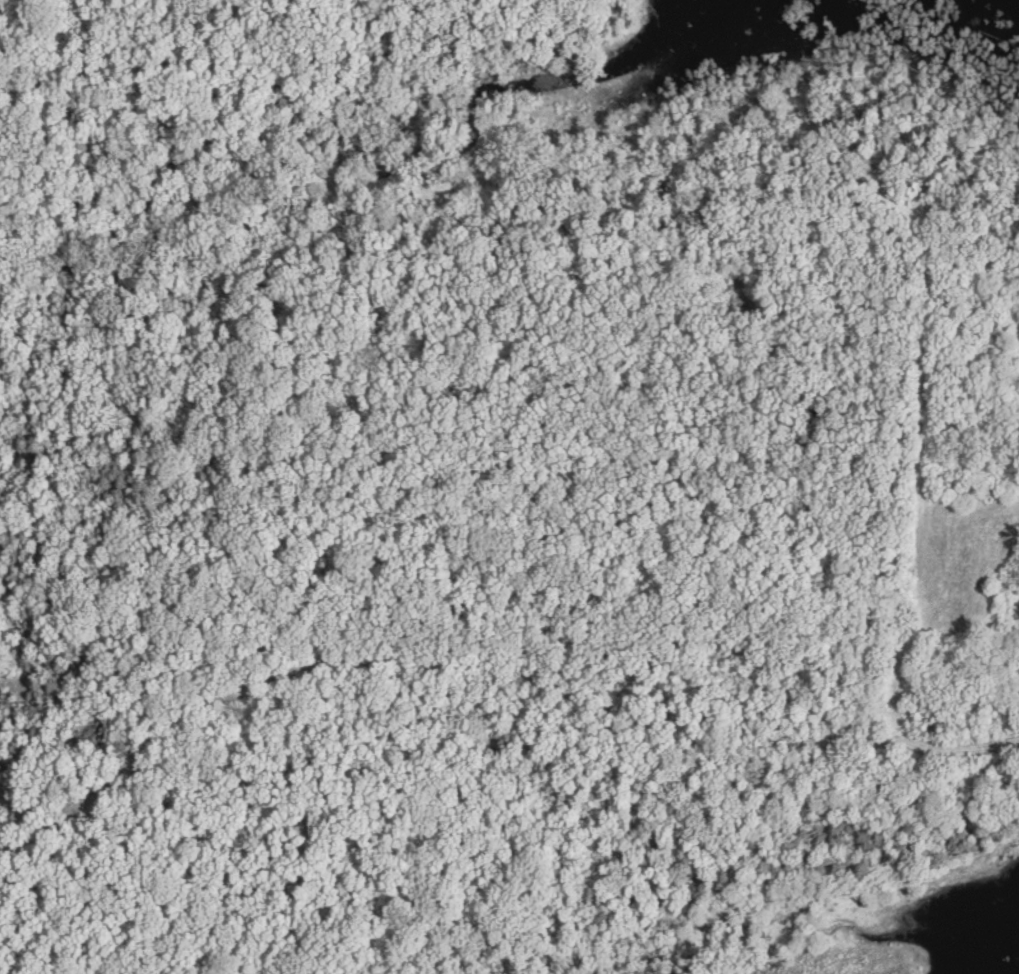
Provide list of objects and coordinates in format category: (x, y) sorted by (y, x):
road: (213, 716)

